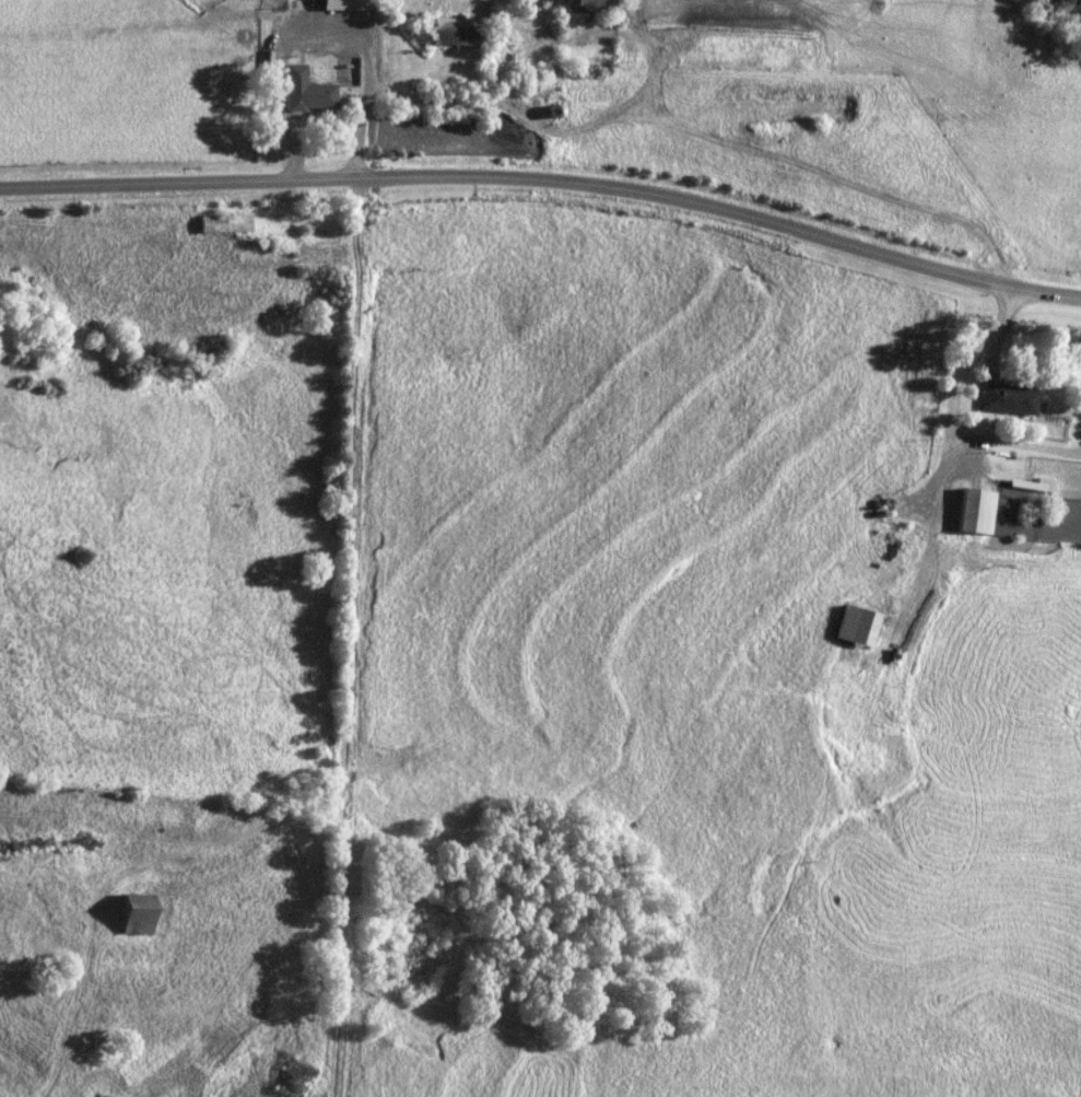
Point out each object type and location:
building: (346, 5)
building: (592, 7)
building: (457, 34)
road: (318, 36)
building: (310, 98)
road: (700, 129)
road: (547, 177)
building: (224, 225)
building: (1010, 400)
road: (947, 455)
building: (1031, 486)
building: (977, 513)
road: (349, 565)
building: (138, 914)

